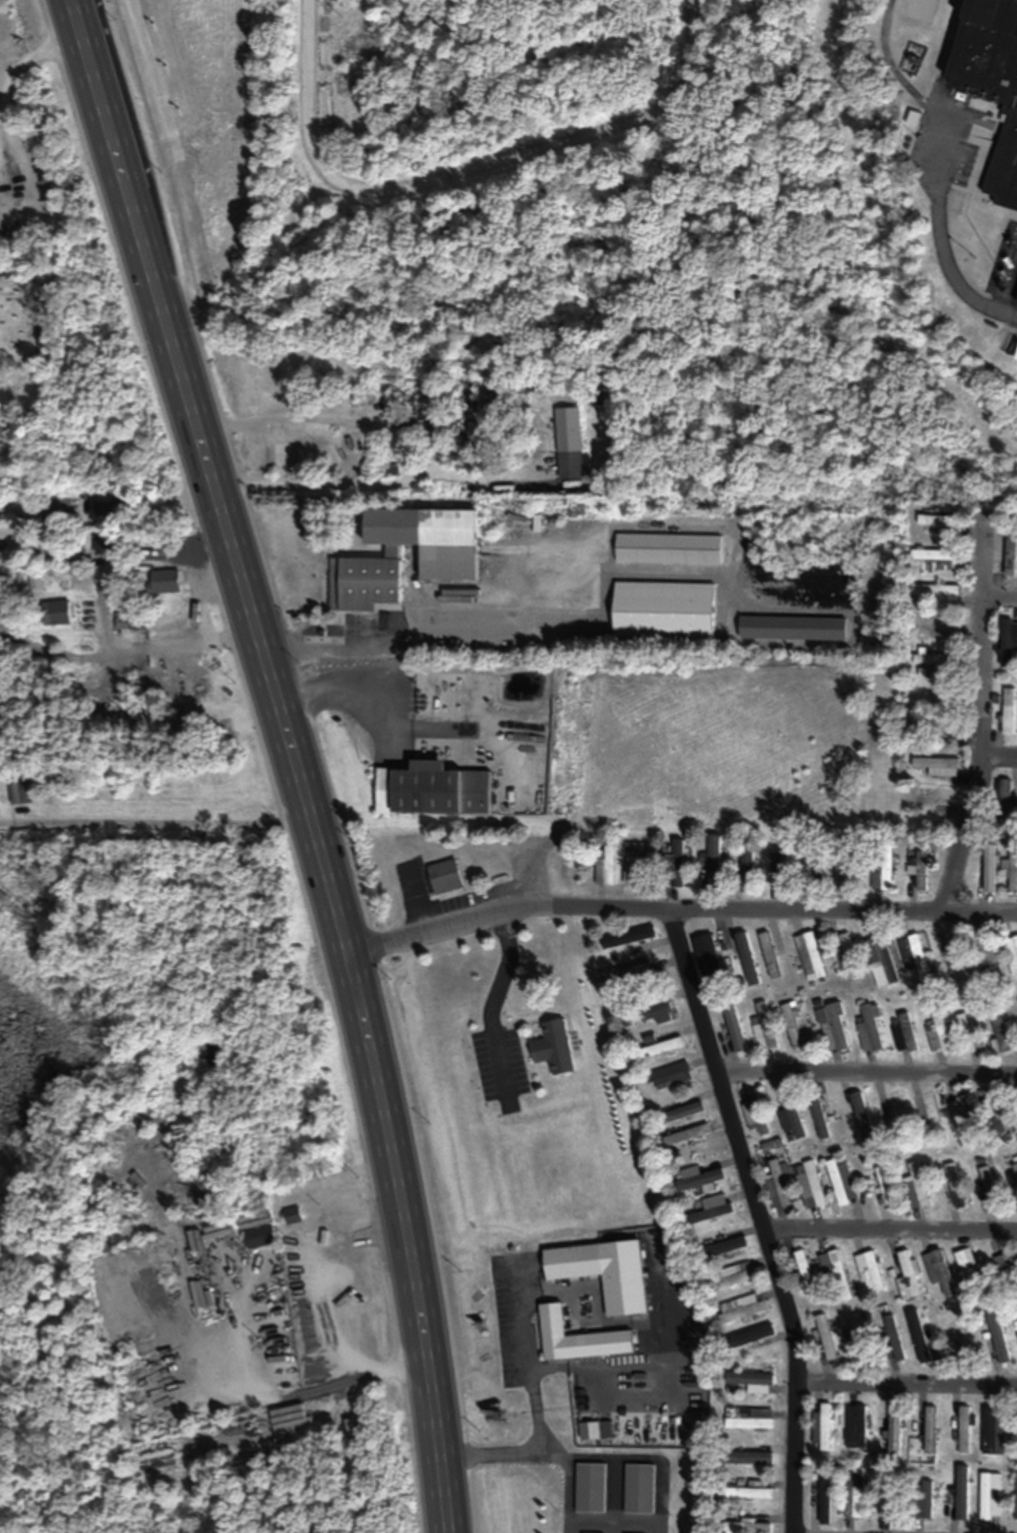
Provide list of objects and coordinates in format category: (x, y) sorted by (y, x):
building: (993, 57)
road: (471, 170)
building: (1008, 175)
road: (950, 243)
building: (467, 386)
road: (337, 421)
building: (569, 443)
road: (204, 470)
road: (375, 485)
building: (112, 511)
building: (938, 520)
building: (107, 544)
building: (668, 548)
building: (1010, 553)
road: (159, 556)
building: (77, 558)
building: (934, 560)
building: (366, 569)
building: (166, 582)
building: (939, 595)
road: (998, 596)
building: (663, 609)
building: (57, 612)
building: (131, 622)
building: (791, 628)
building: (938, 629)
road: (415, 638)
building: (1007, 643)
building: (936, 661)
building: (1008, 711)
road: (979, 719)
building: (935, 731)
road: (998, 756)
building: (938, 765)
building: (433, 789)
building: (22, 791)
building: (934, 798)
building: (1003, 801)
building: (714, 861)
building: (677, 863)
building: (606, 867)
building: (747, 867)
building: (632, 869)
building: (782, 870)
building: (813, 870)
building: (881, 871)
building: (920, 871)
building: (842, 874)
building: (989, 876)
building: (445, 877)
building: (1013, 878)
road: (500, 906)
road: (840, 908)
building: (629, 937)
building: (746, 953)
building: (707, 954)
building: (770, 954)
building: (1011, 954)
building: (810, 956)
building: (850, 956)
building: (949, 957)
building: (881, 961)
building: (986, 963)
building: (634, 973)
road: (493, 998)
building: (656, 1013)
building: (792, 1025)
building: (871, 1026)
building: (764, 1027)
building: (735, 1028)
building: (833, 1028)
building: (970, 1031)
building: (939, 1032)
building: (1000, 1032)
building: (904, 1034)
building: (555, 1047)
building: (660, 1048)
road: (867, 1071)
building: (670, 1076)
building: (1016, 1101)
building: (890, 1107)
building: (991, 1108)
building: (682, 1112)
building: (755, 1112)
building: (961, 1116)
building: (791, 1117)
building: (819, 1119)
building: (1005, 1134)
building: (687, 1135)
building: (1015, 1170)
building: (985, 1178)
building: (700, 1181)
building: (842, 1183)
building: (954, 1185)
building: (778, 1186)
building: (916, 1186)
building: (811, 1187)
building: (710, 1213)
road: (757, 1213)
road: (890, 1230)
road: (406, 1234)
building: (261, 1237)
building: (729, 1246)
building: (572, 1261)
building: (834, 1270)
building: (870, 1270)
building: (803, 1271)
building: (938, 1271)
building: (1007, 1272)
building: (731, 1276)
building: (908, 1277)
building: (740, 1309)
building: (758, 1335)
building: (918, 1336)
building: (825, 1337)
building: (577, 1338)
building: (856, 1339)
building: (891, 1339)
building: (997, 1339)
building: (959, 1340)
building: (129, 1353)
building: (748, 1380)
road: (907, 1385)
road: (539, 1410)
building: (750, 1419)
building: (855, 1427)
building: (821, 1429)
building: (930, 1429)
building: (964, 1429)
building: (894, 1430)
building: (993, 1430)
building: (590, 1431)
building: (750, 1453)
road: (570, 1478)
building: (590, 1488)
building: (639, 1489)
building: (962, 1492)
building: (853, 1495)
building: (991, 1496)
building: (824, 1499)
building: (925, 1499)
building: (889, 1504)
building: (747, 1527)

